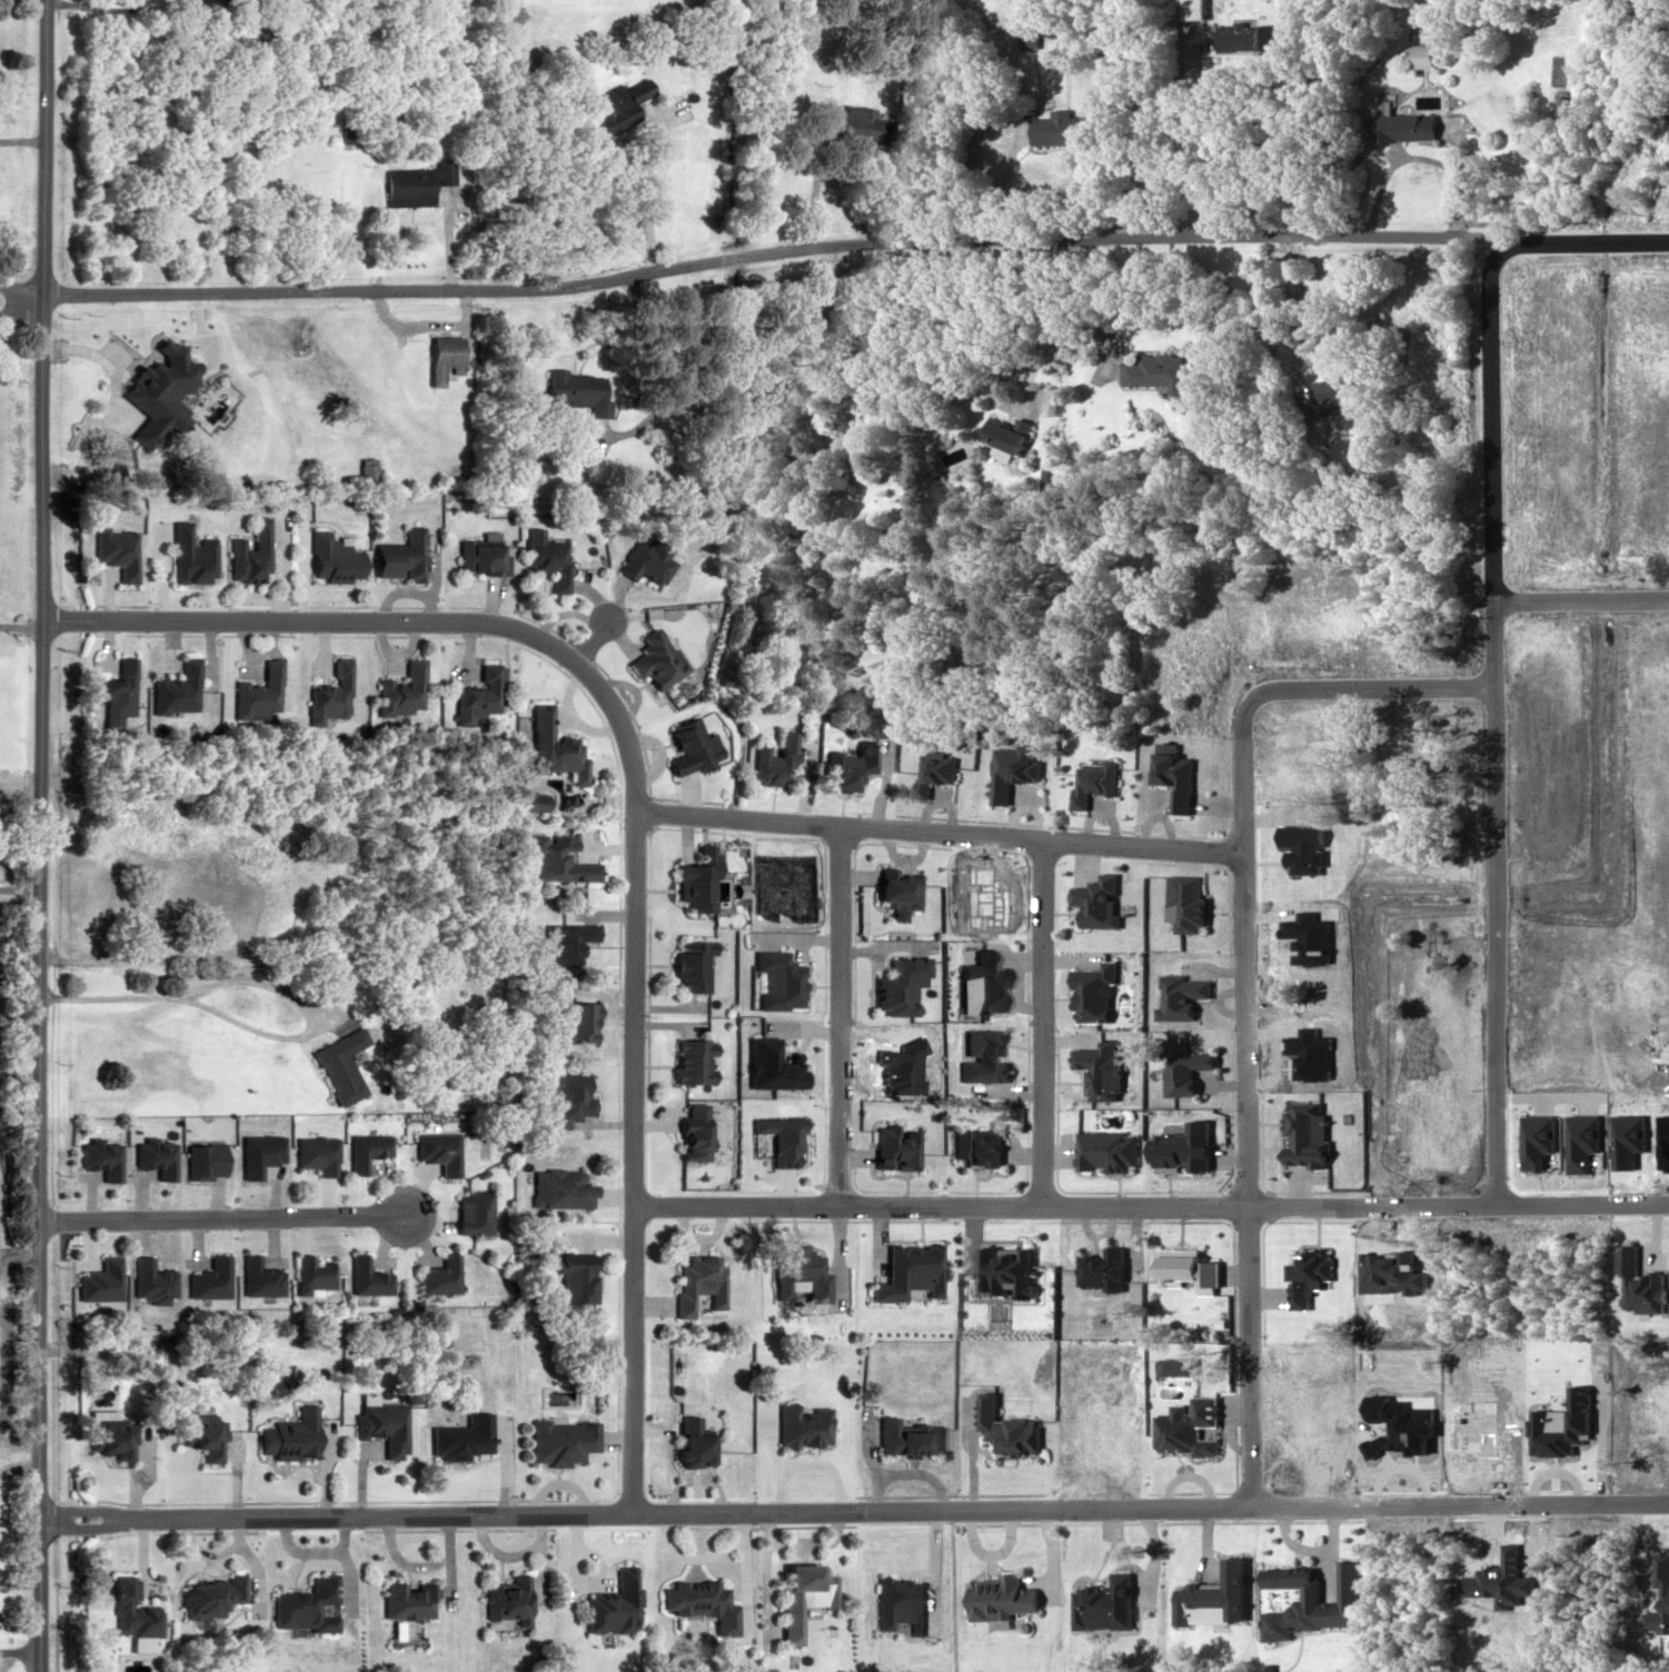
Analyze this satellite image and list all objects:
building: (208, 8)
building: (1189, 9)
building: (510, 17)
building: (1419, 54)
building: (1560, 107)
building: (616, 109)
building: (852, 121)
building: (1403, 126)
building: (1057, 128)
road: (21, 139)
building: (413, 182)
road: (767, 252)
road: (20, 295)
building: (1152, 370)
building: (575, 390)
building: (1330, 391)
building: (196, 415)
building: (128, 416)
building: (1005, 431)
building: (116, 550)
building: (247, 553)
building: (188, 554)
building: (395, 555)
building: (473, 556)
building: (328, 558)
building: (543, 558)
building: (642, 559)
building: (652, 659)
building: (116, 688)
building: (175, 688)
building: (398, 689)
building: (257, 693)
building: (328, 693)
building: (475, 694)
building: (550, 746)
building: (688, 747)
building: (772, 759)
road: (634, 804)
road: (745, 816)
road: (38, 836)
building: (555, 859)
building: (691, 884)
building: (219, 895)
building: (563, 940)
building: (686, 964)
road: (182, 992)
building: (574, 1022)
building: (687, 1061)
building: (331, 1069)
building: (566, 1101)
building: (686, 1137)
building: (365, 1149)
building: (435, 1149)
building: (257, 1153)
building: (315, 1153)
building: (557, 1187)
road: (716, 1204)
building: (468, 1212)
road: (222, 1216)
building: (309, 1272)
building: (437, 1275)
building: (256, 1276)
building: (364, 1277)
building: (206, 1278)
building: (97, 1280)
building: (572, 1280)
building: (694, 1282)
building: (797, 1425)
building: (200, 1435)
building: (288, 1435)
building: (460, 1436)
building: (558, 1441)
building: (687, 1441)
road: (627, 1511)
building: (797, 1596)
building: (997, 1596)
building: (405, 1599)
building: (505, 1599)
building: (697, 1602)
building: (610, 1603)
building: (897, 1603)
building: (127, 1611)

